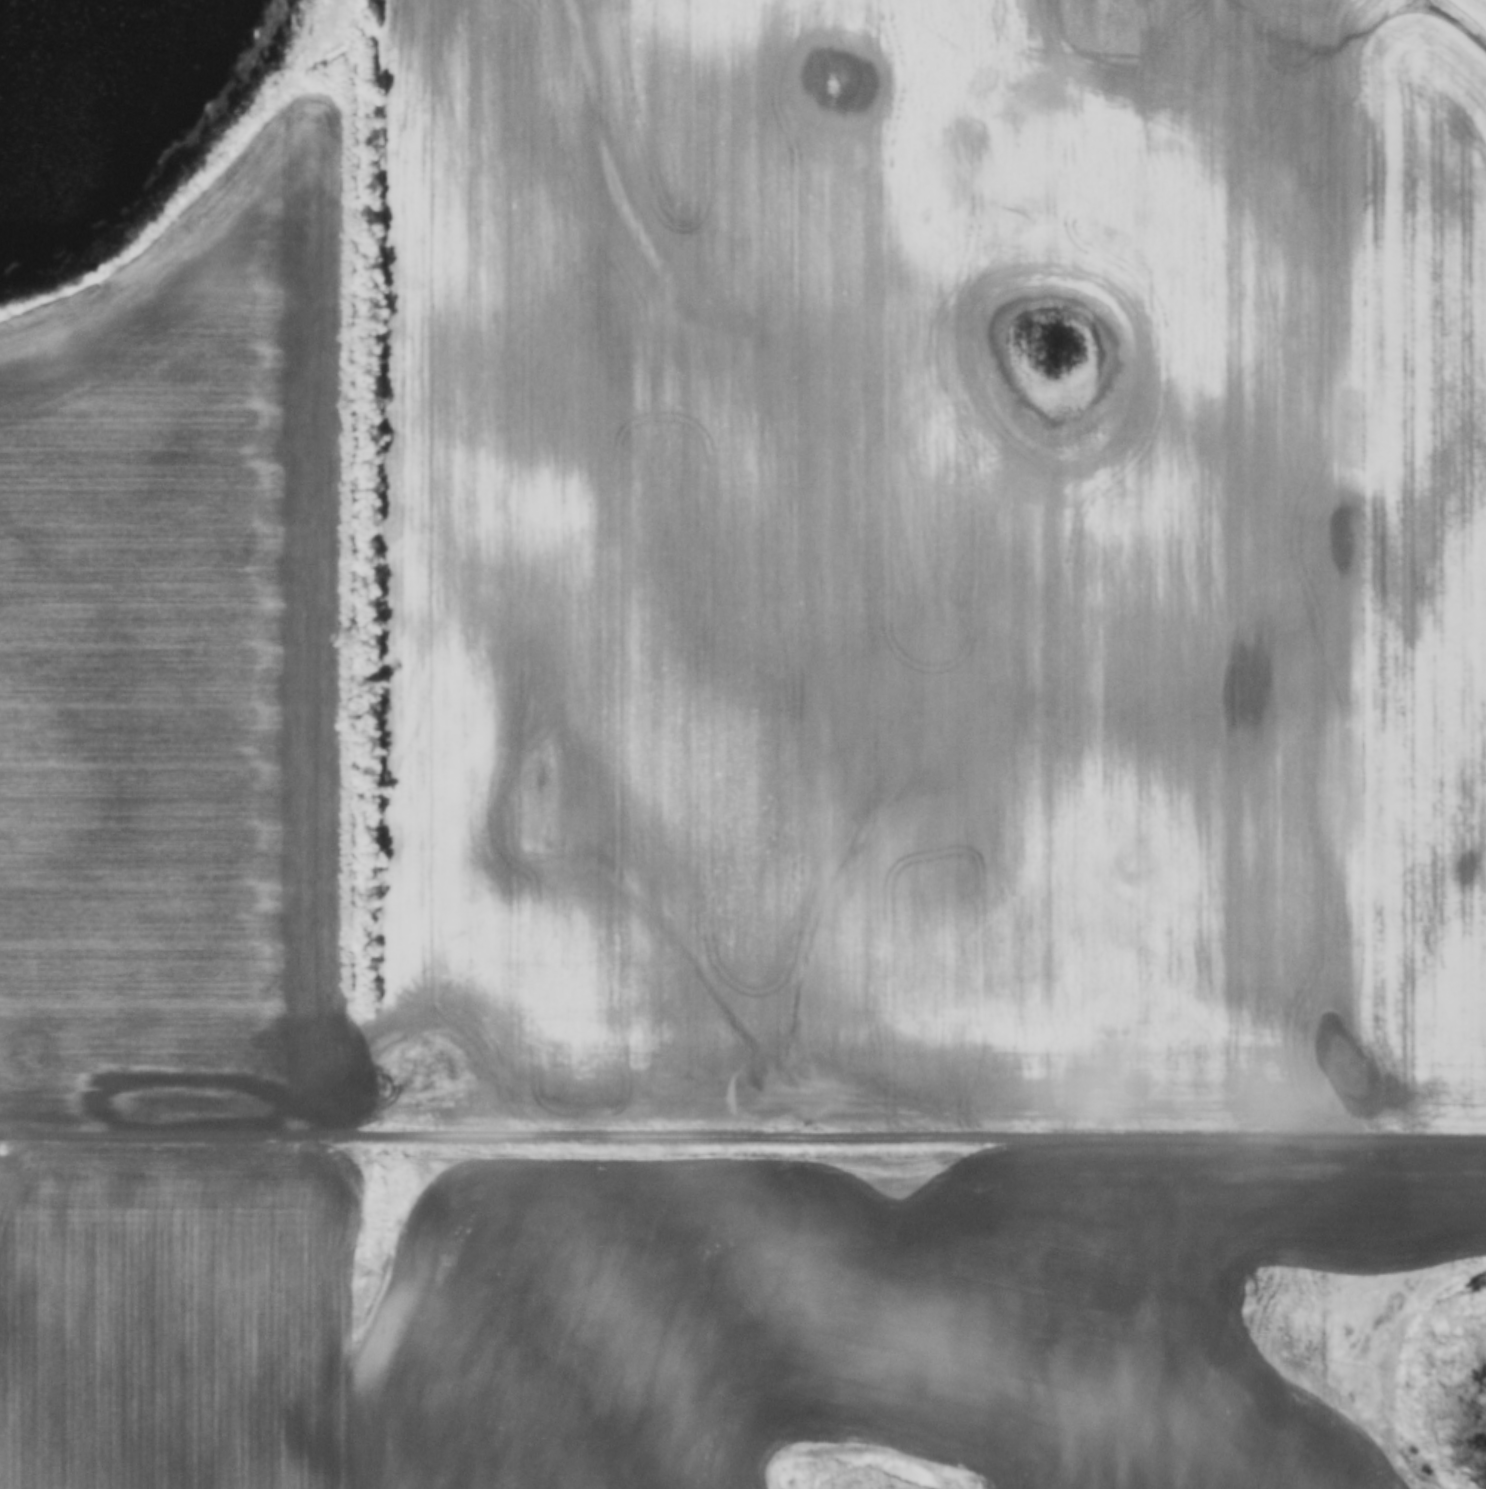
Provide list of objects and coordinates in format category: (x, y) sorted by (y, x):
road: (743, 1139)

